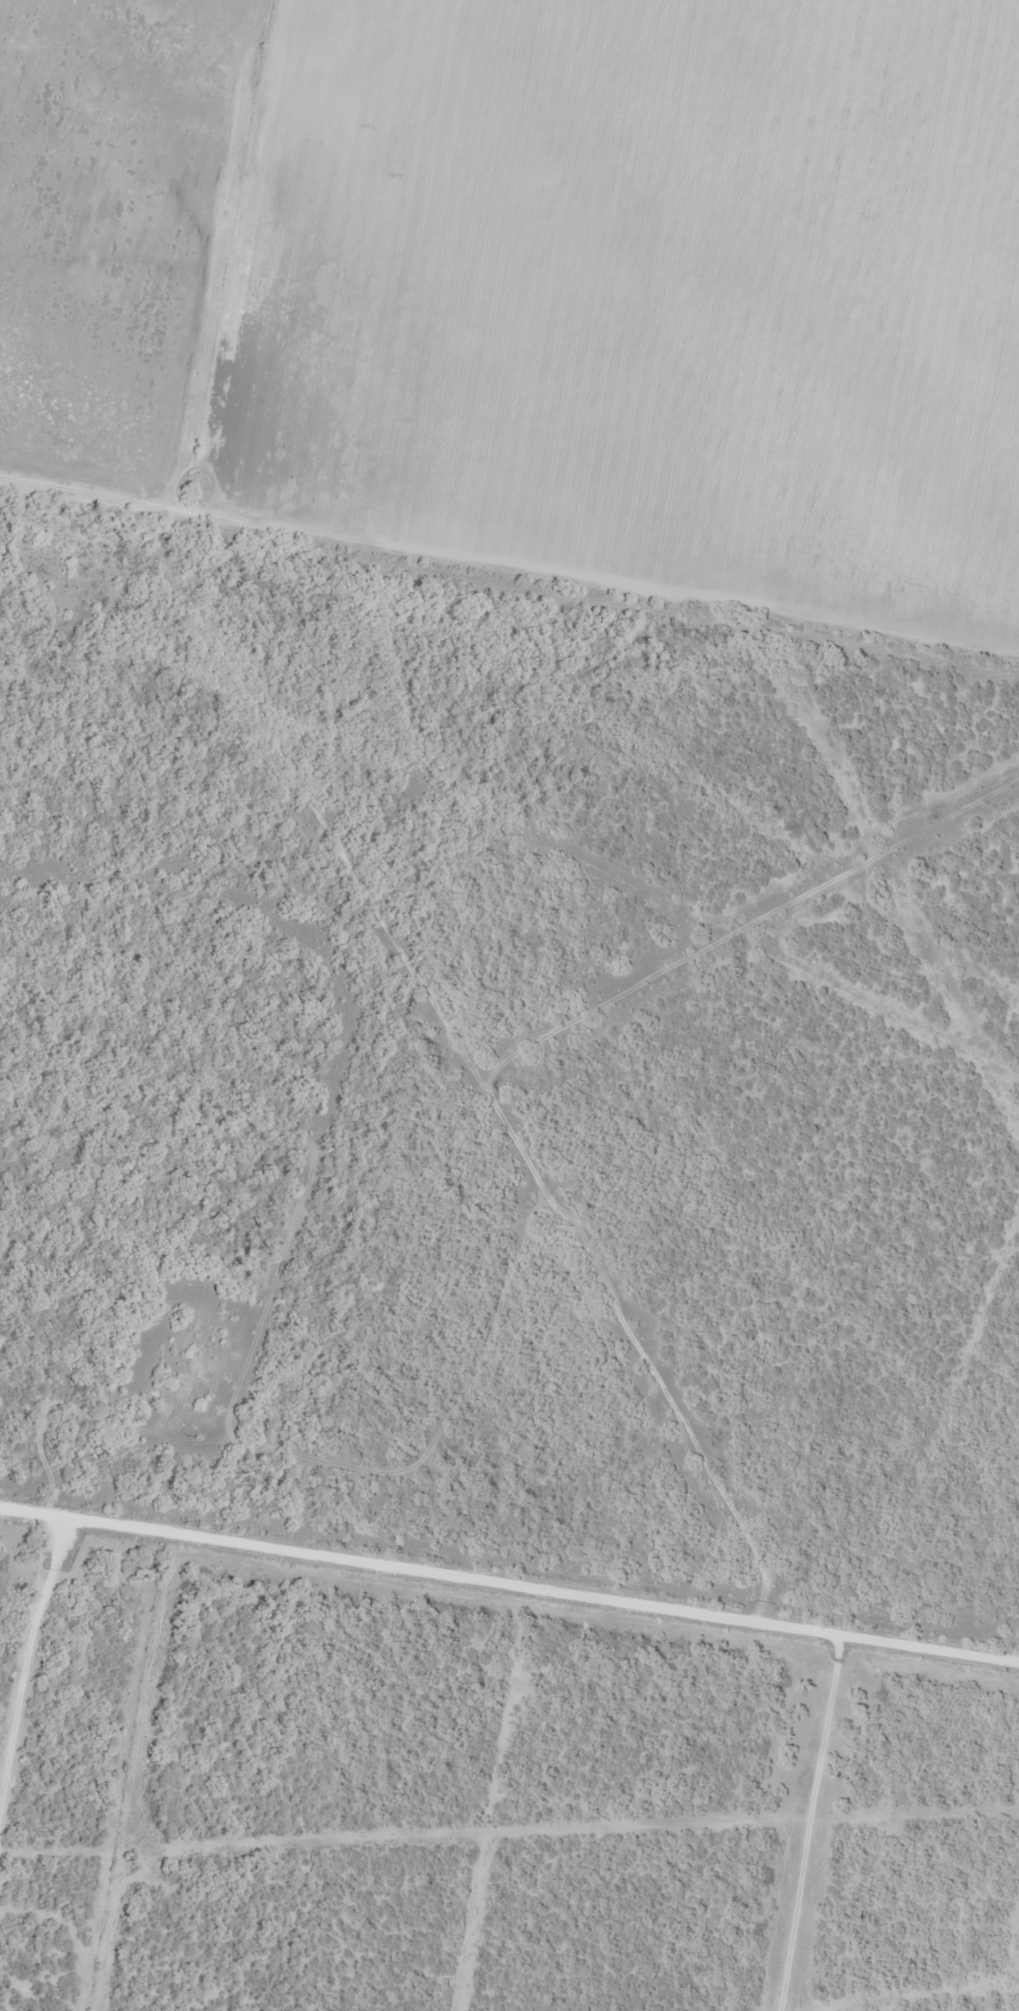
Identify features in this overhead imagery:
building: (907, 74)
building: (585, 160)
road: (210, 268)
building: (722, 315)
building: (877, 335)
building: (581, 420)
building: (714, 430)
building: (700, 463)
building: (729, 498)
road: (352, 925)
road: (734, 938)
road: (506, 1602)
road: (26, 1691)

